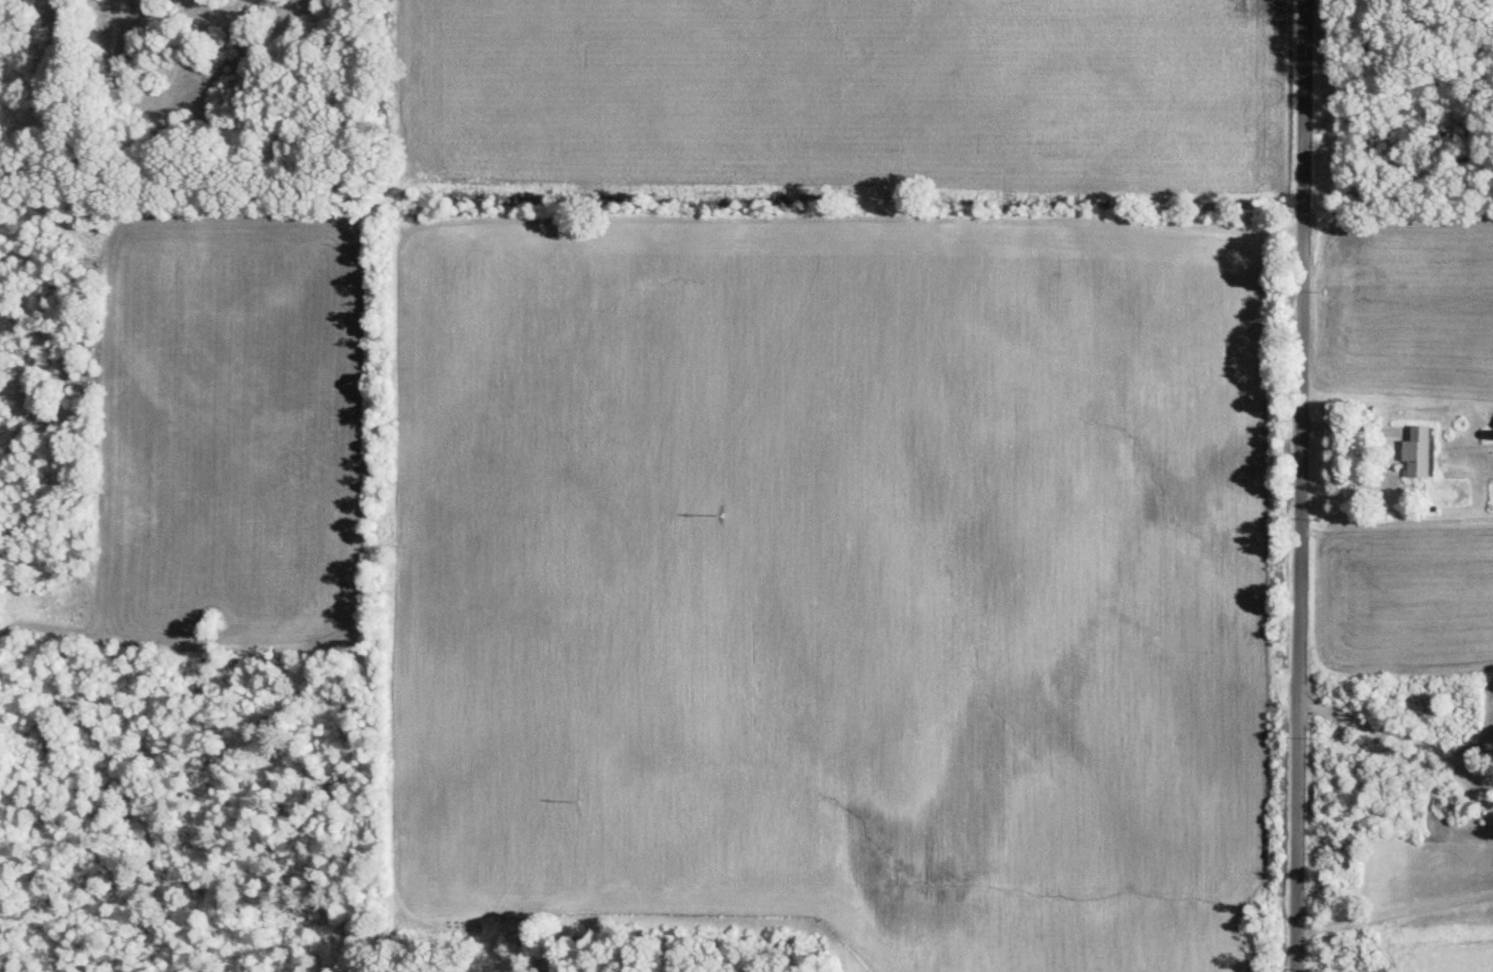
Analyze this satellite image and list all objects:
building: (1414, 454)
road: (1293, 485)
road: (1392, 730)
road: (1390, 909)

